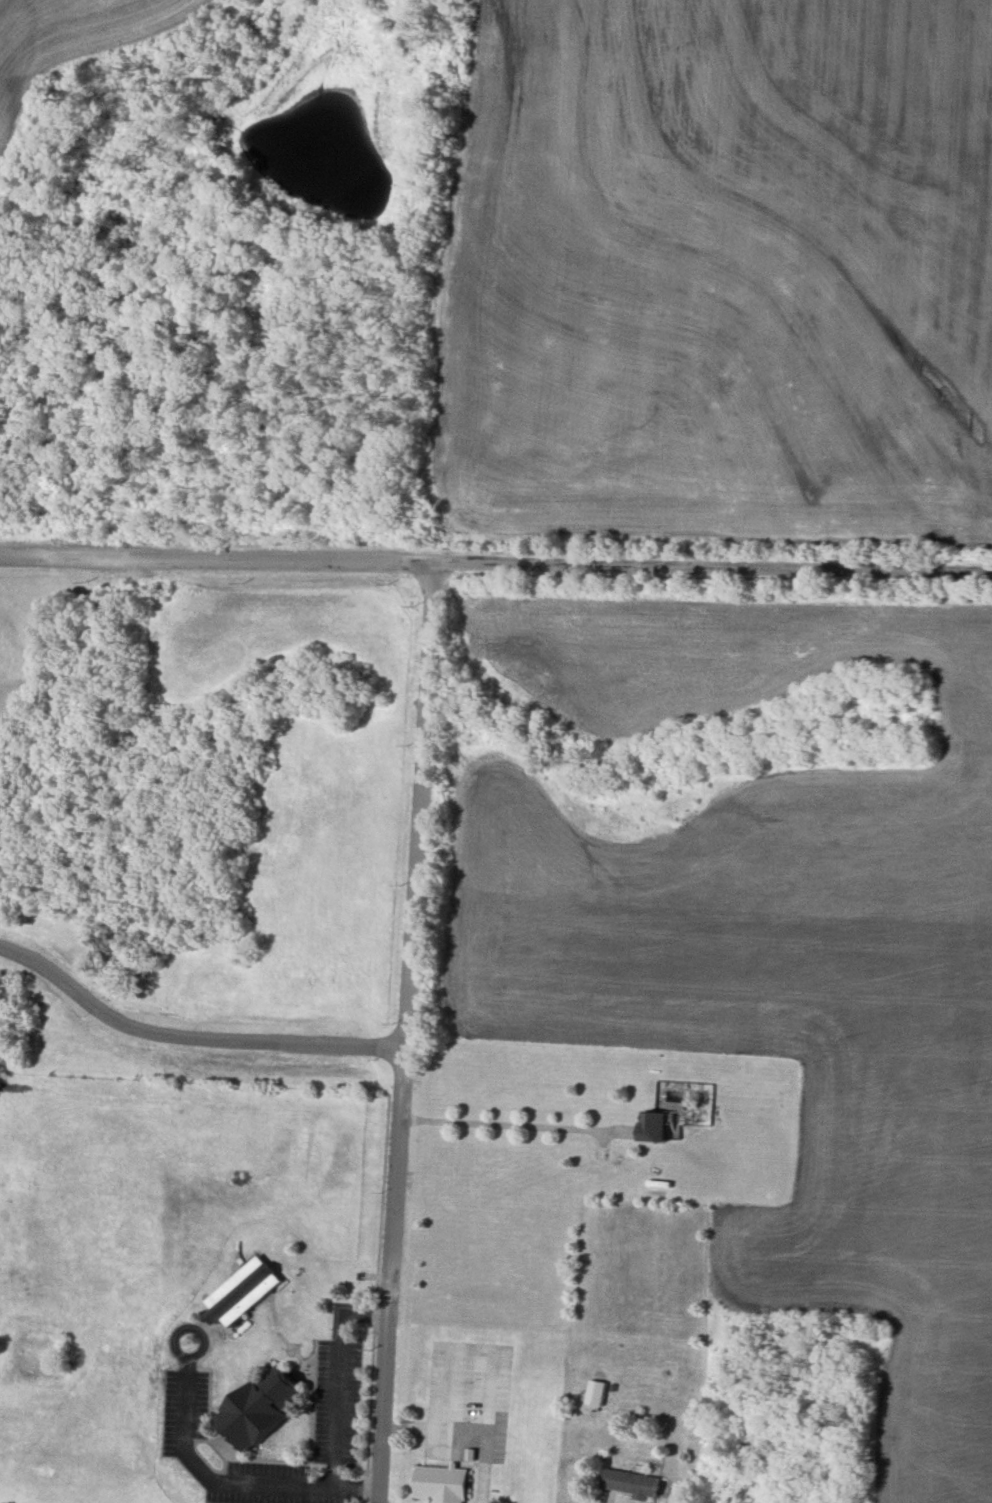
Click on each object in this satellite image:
crop: (71, 44)
crop: (723, 287)
road: (496, 563)
crop: (767, 951)
road: (402, 1032)
road: (187, 1037)
road: (519, 1125)
building: (655, 1126)
road: (603, 1143)
building: (247, 1293)
road: (366, 1313)
road: (195, 1328)
road: (454, 1389)
building: (596, 1392)
road: (338, 1400)
road: (491, 1404)
road: (186, 1408)
building: (262, 1410)
road: (437, 1430)
building: (471, 1453)
road: (201, 1466)
road: (487, 1481)
building: (630, 1481)
building: (443, 1483)
road: (299, 1487)

